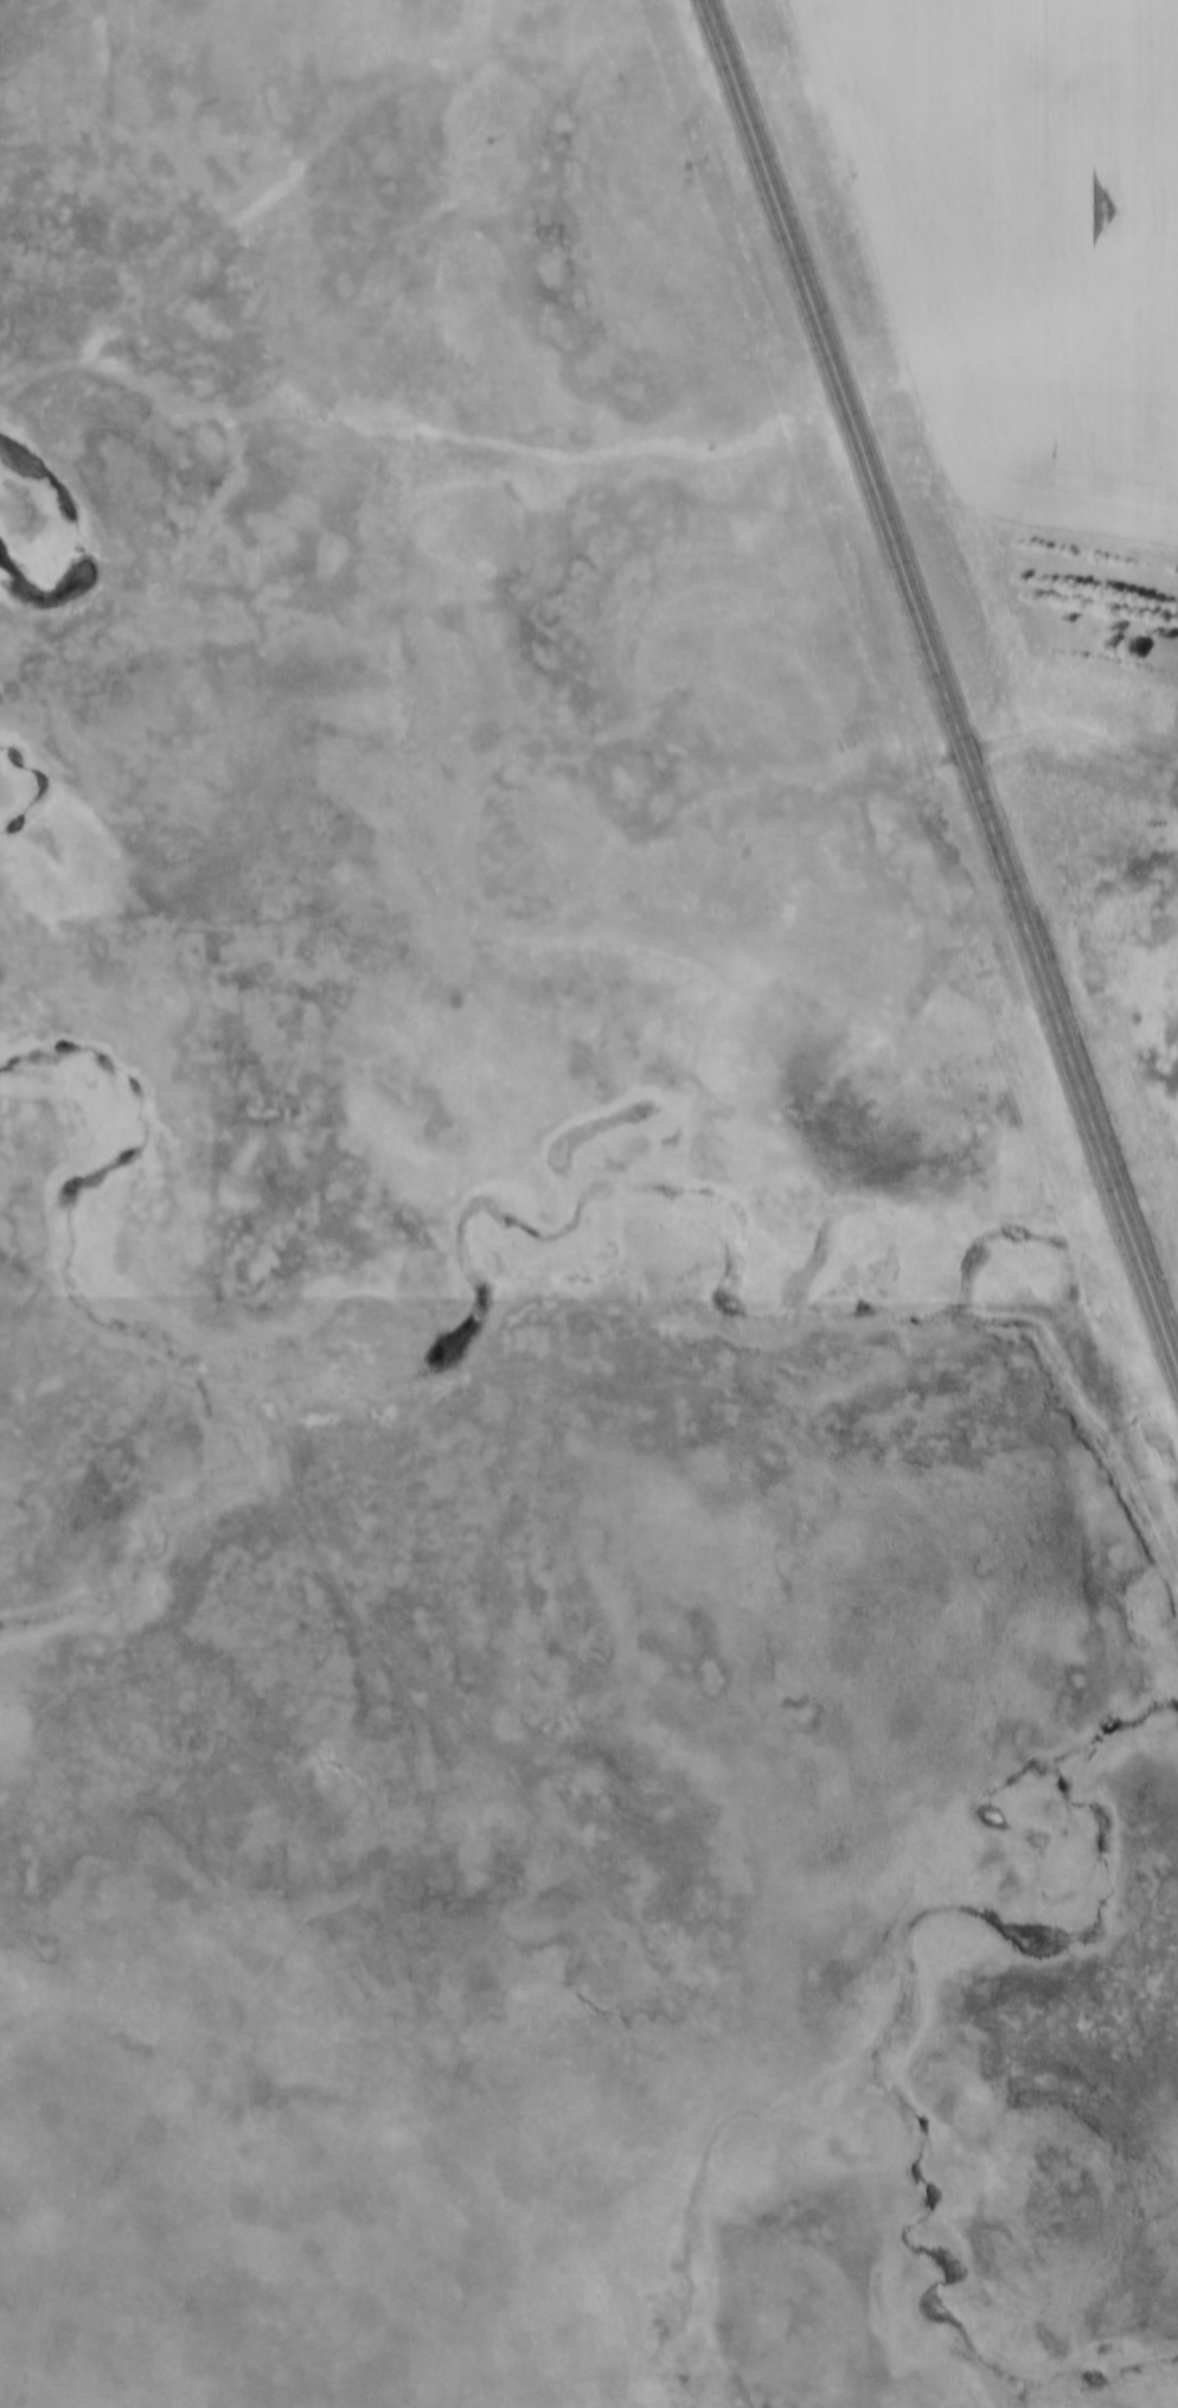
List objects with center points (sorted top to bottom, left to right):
road: (946, 670)
road: (1075, 735)

